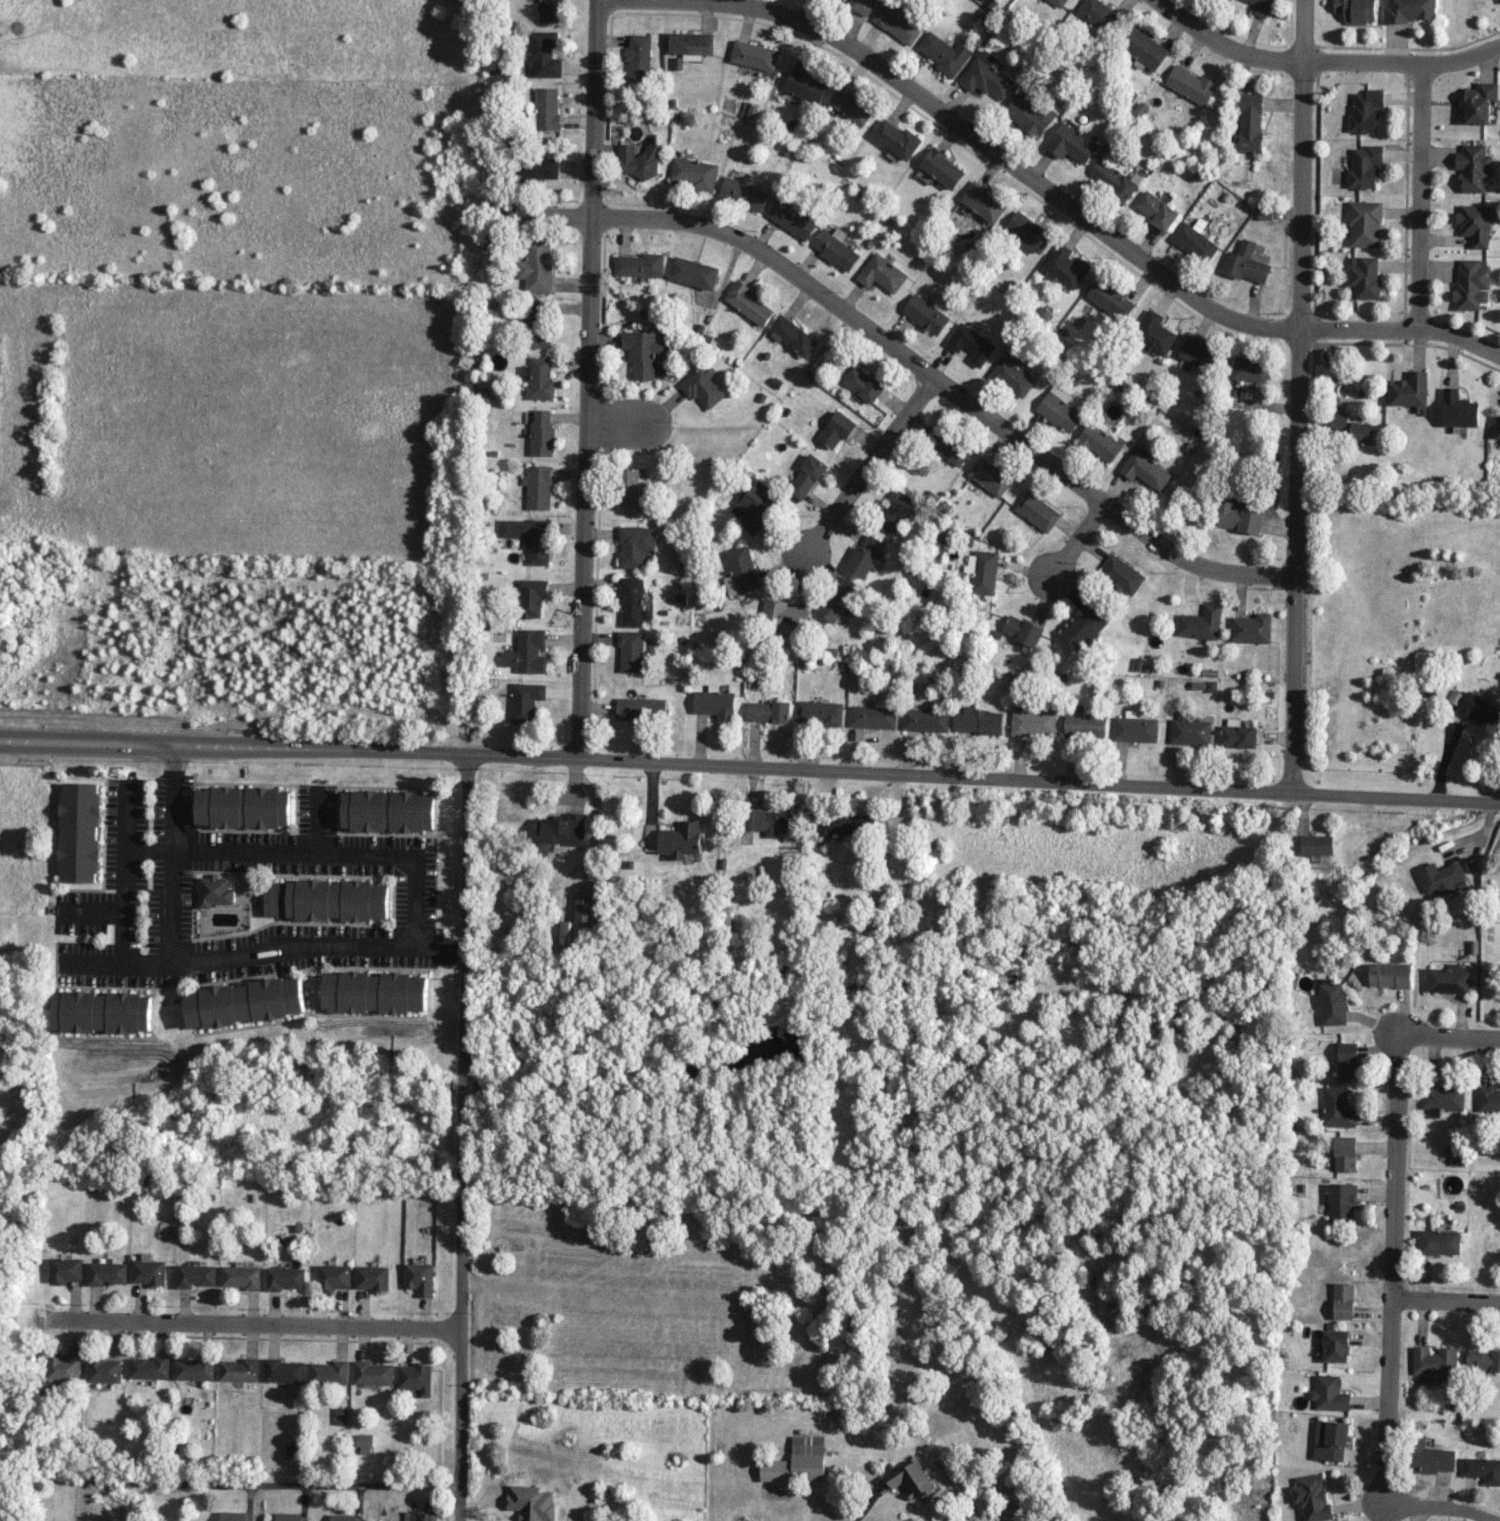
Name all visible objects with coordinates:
building: (1499, 1)
building: (1058, 2)
building: (861, 6)
building: (1260, 7)
building: (1356, 10)
building: (1409, 10)
building: (551, 11)
building: (1099, 14)
building: (896, 23)
building: (689, 44)
building: (1143, 47)
building: (943, 52)
building: (544, 53)
building: (754, 55)
building: (639, 57)
road: (1323, 59)
building: (987, 76)
building: (804, 83)
building: (1191, 84)
building: (1479, 102)
building: (851, 104)
building: (547, 108)
building: (1365, 110)
building: (1029, 114)
building: (1250, 122)
building: (896, 139)
building: (1073, 143)
building: (638, 161)
building: (1365, 166)
building: (1474, 167)
building: (538, 168)
building: (941, 168)
building: (693, 173)
building: (1114, 179)
building: (743, 193)
road: (1420, 196)
building: (983, 202)
building: (1156, 211)
building: (791, 219)
building: (1364, 223)
building: (1475, 223)
road: (1102, 228)
building: (1028, 231)
building: (1193, 242)
building: (834, 248)
building: (1244, 263)
building: (640, 265)
building: (1065, 265)
building: (537, 266)
building: (694, 272)
building: (881, 273)
building: (1365, 276)
building: (1471, 283)
building: (1110, 299)
building: (749, 303)
building: (925, 314)
building: (536, 322)
building: (1154, 332)
building: (792, 335)
building: (970, 344)
building: (1199, 353)
building: (645, 354)
road: (910, 361)
building: (1250, 368)
road: (589, 375)
building: (1011, 377)
building: (538, 378)
building: (863, 383)
building: (703, 386)
building: (1410, 389)
road: (1299, 392)
building: (1459, 409)
building: (1059, 411)
road: (620, 426)
building: (1353, 427)
building: (1497, 427)
building: (836, 429)
building: (541, 433)
building: (1099, 442)
building: (946, 445)
road: (864, 462)
building: (1145, 470)
building: (806, 476)
building: (989, 476)
building: (538, 486)
building: (632, 489)
building: (753, 504)
building: (896, 511)
building: (1037, 511)
building: (1238, 515)
building: (530, 537)
road: (1074, 540)
building: (635, 545)
building: (864, 555)
building: (740, 571)
building: (982, 571)
building: (1122, 574)
building: (532, 597)
building: (839, 598)
building: (632, 601)
building: (783, 614)
building: (1201, 623)
building: (1085, 627)
building: (1251, 628)
building: (1022, 630)
building: (632, 651)
building: (528, 652)
building: (526, 701)
building: (714, 704)
building: (641, 708)
building: (1480, 710)
building: (768, 711)
building: (819, 712)
building: (873, 716)
building: (925, 719)
building: (978, 721)
building: (1033, 722)
building: (1085, 724)
building: (1135, 729)
building: (1190, 731)
building: (1236, 734)
road: (750, 758)
building: (243, 807)
building: (388, 810)
building: (768, 821)
building: (847, 823)
building: (558, 829)
building: (79, 832)
building: (682, 839)
building: (1317, 844)
road: (123, 874)
building: (1443, 878)
road: (413, 880)
building: (214, 891)
building: (326, 900)
road: (170, 903)
building: (584, 908)
building: (564, 937)
building: (1390, 974)
building: (1448, 980)
building: (376, 992)
building: (246, 1002)
building: (1332, 1003)
building: (103, 1012)
road: (1448, 1035)
building: (1347, 1060)
building: (1442, 1097)
building: (1488, 1099)
building: (1337, 1107)
road: (463, 1133)
building: (1344, 1153)
building: (1341, 1201)
building: (642, 1235)
building: (1438, 1241)
road: (1385, 1264)
building: (65, 1269)
building: (148, 1272)
building: (106, 1273)
building: (195, 1275)
building: (241, 1276)
building: (285, 1277)
building: (333, 1277)
building: (372, 1277)
building: (420, 1278)
road: (1442, 1299)
building: (1343, 1300)
road: (253, 1323)
building: (1335, 1345)
building: (1482, 1359)
building: (1433, 1363)
building: (149, 1367)
building: (62, 1368)
building: (193, 1369)
building: (239, 1369)
building: (104, 1370)
building: (283, 1370)
building: (328, 1372)
building: (373, 1373)
building: (415, 1378)
building: (1329, 1393)
building: (341, 1415)
building: (1330, 1440)
building: (365, 1443)
building: (1430, 1457)
building: (798, 1461)
building: (1482, 1469)
road: (854, 1470)
building: (911, 1479)
road: (273, 1484)
building: (1312, 1497)
building: (531, 1502)
road: (1440, 1509)
building: (233, 1516)
building: (288, 1516)
building: (420, 1516)
building: (346, 1517)

